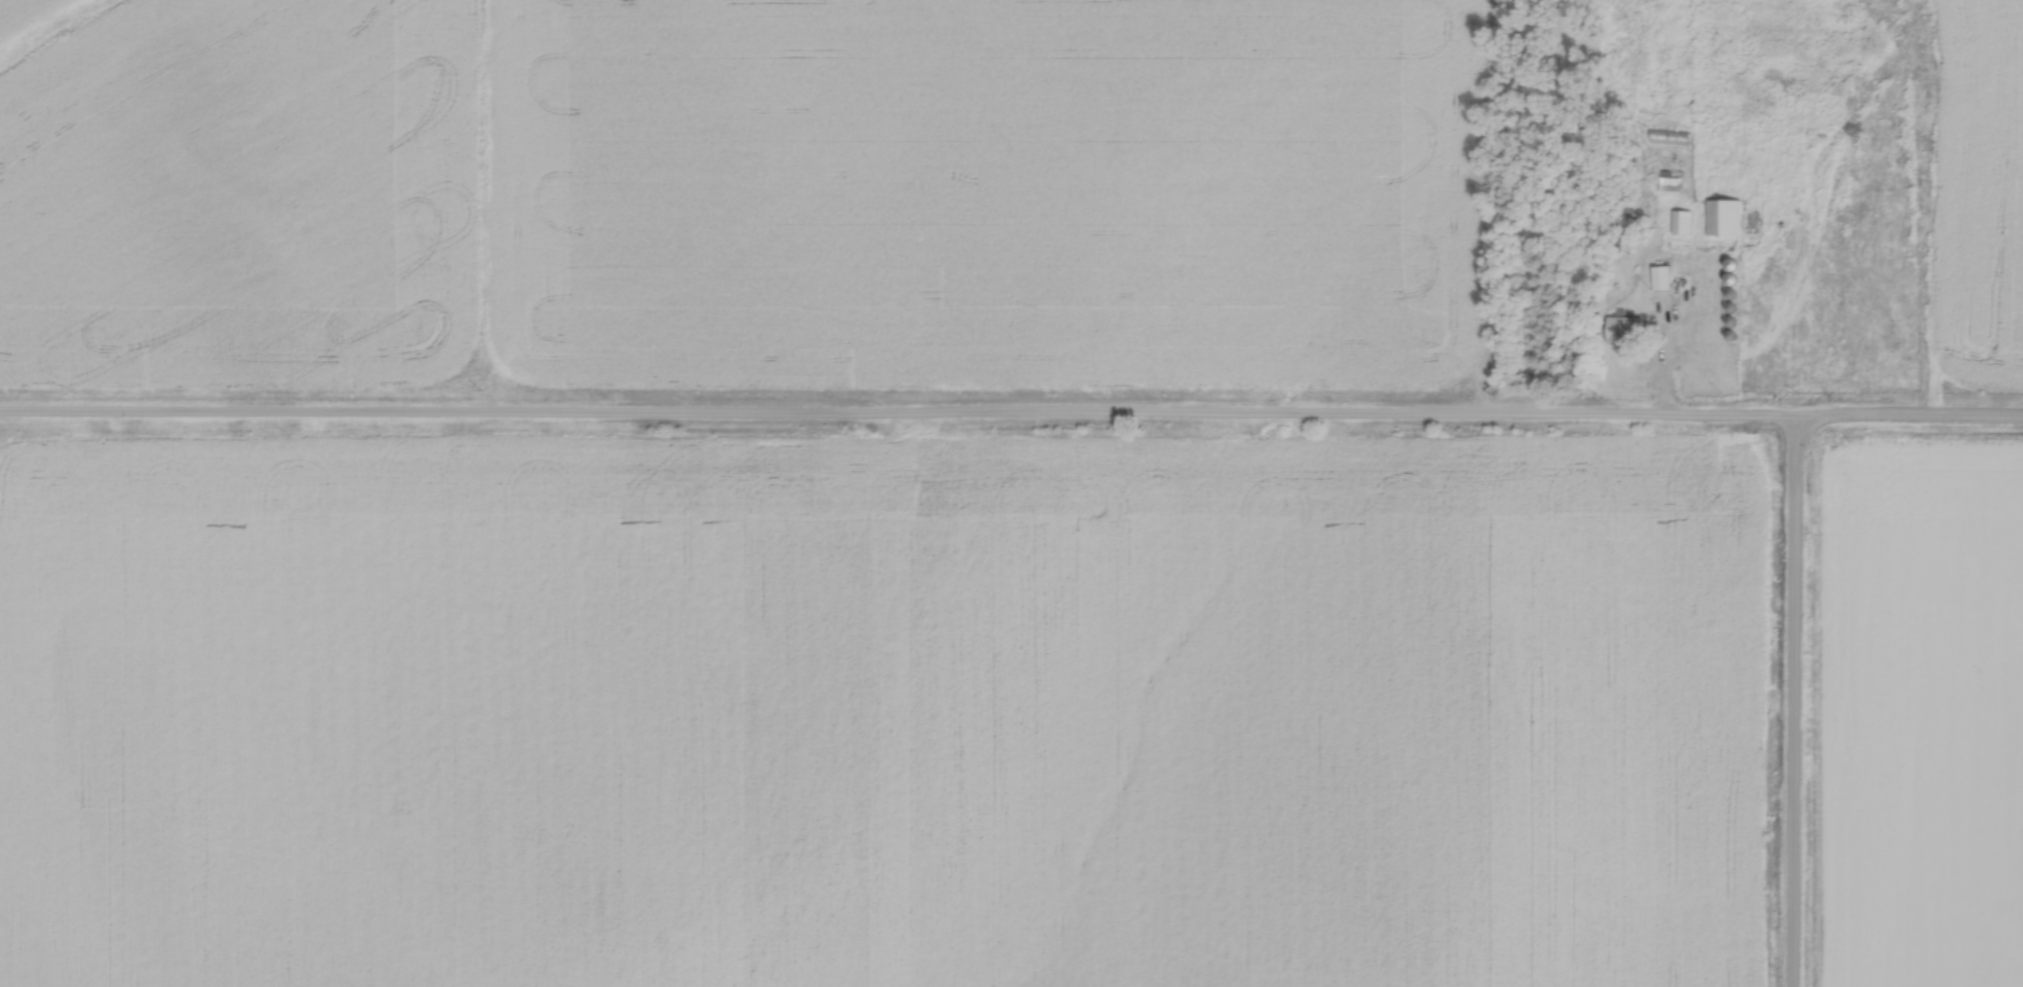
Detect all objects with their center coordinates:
building: (1670, 131)
building: (1673, 179)
building: (1724, 213)
building: (1682, 218)
building: (1661, 273)
building: (1623, 323)
road: (1011, 418)
road: (1795, 702)

